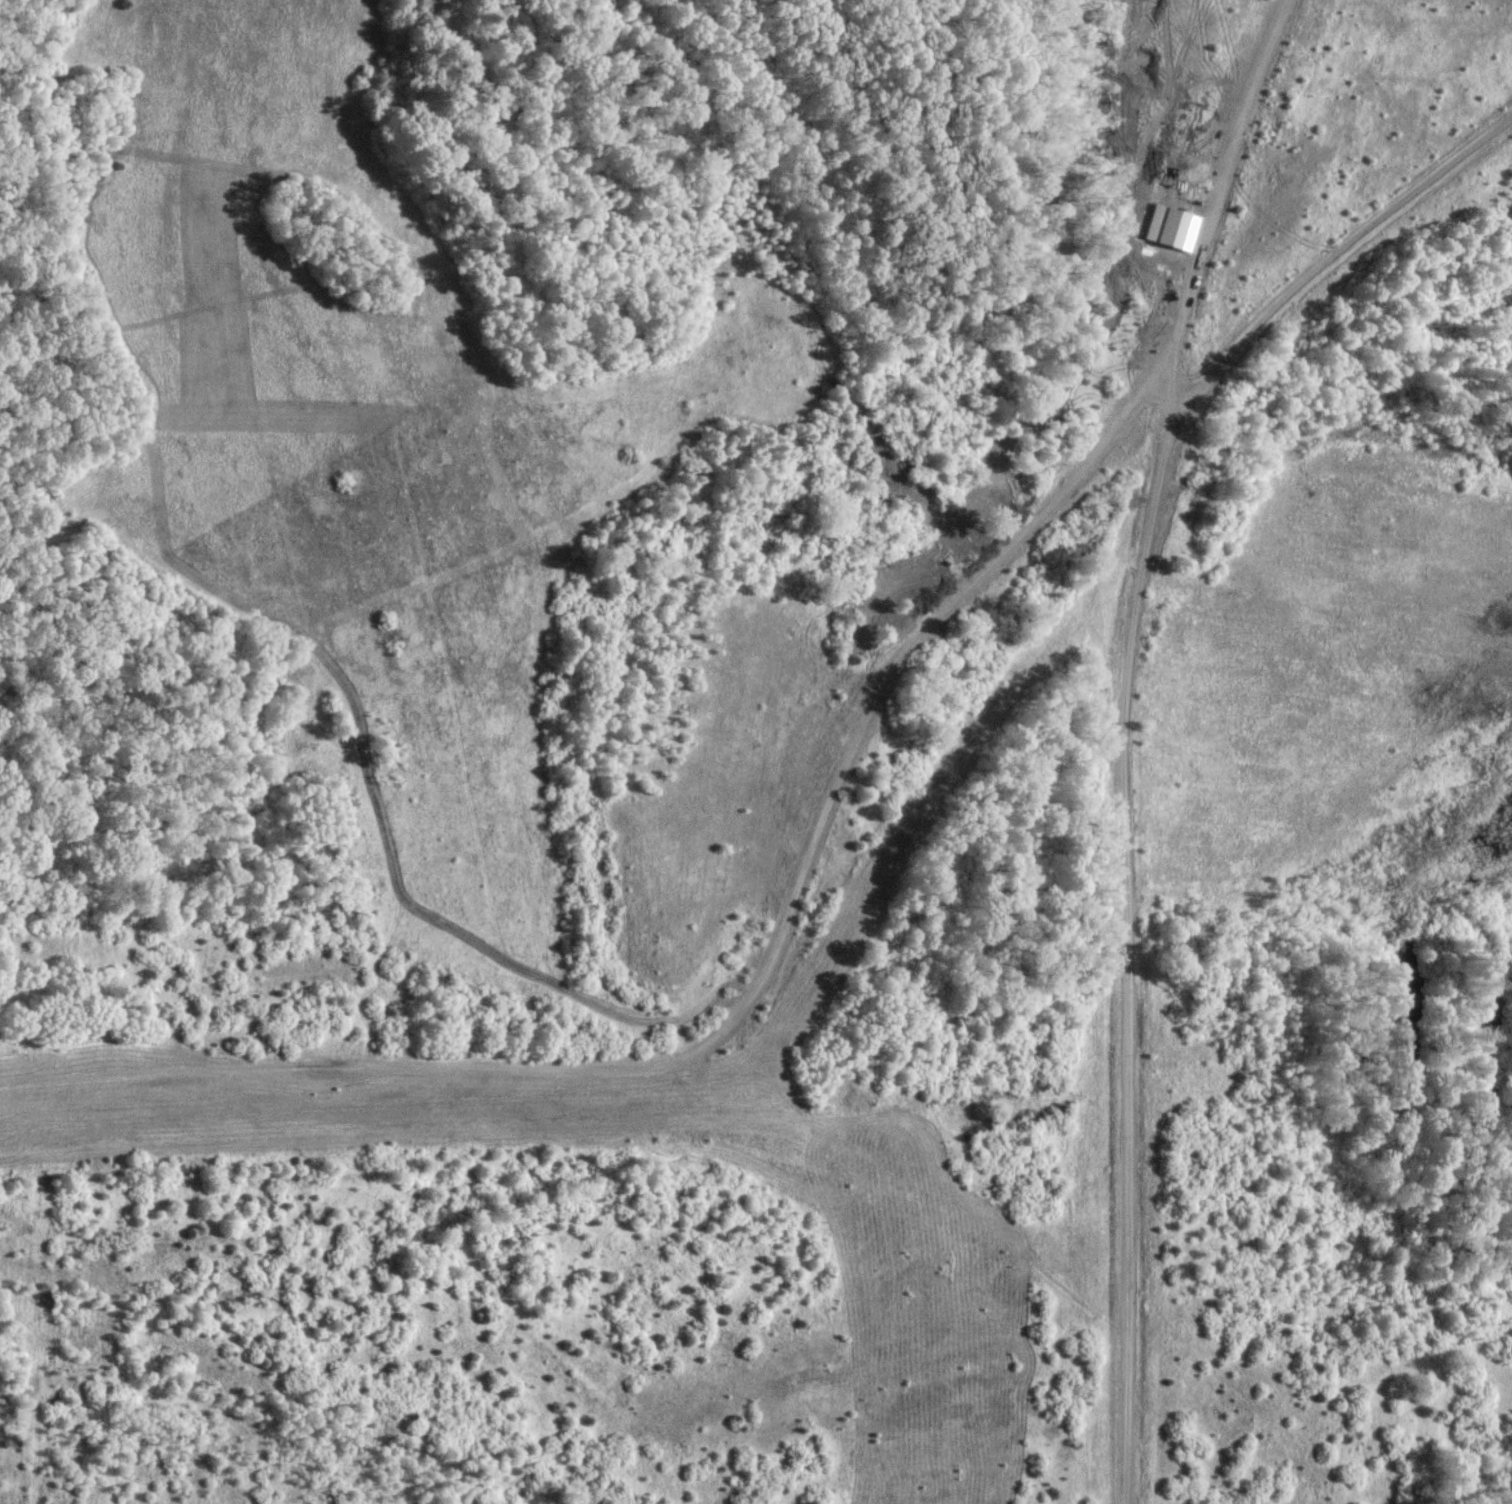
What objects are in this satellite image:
road: (1317, 268)
road: (1146, 738)

